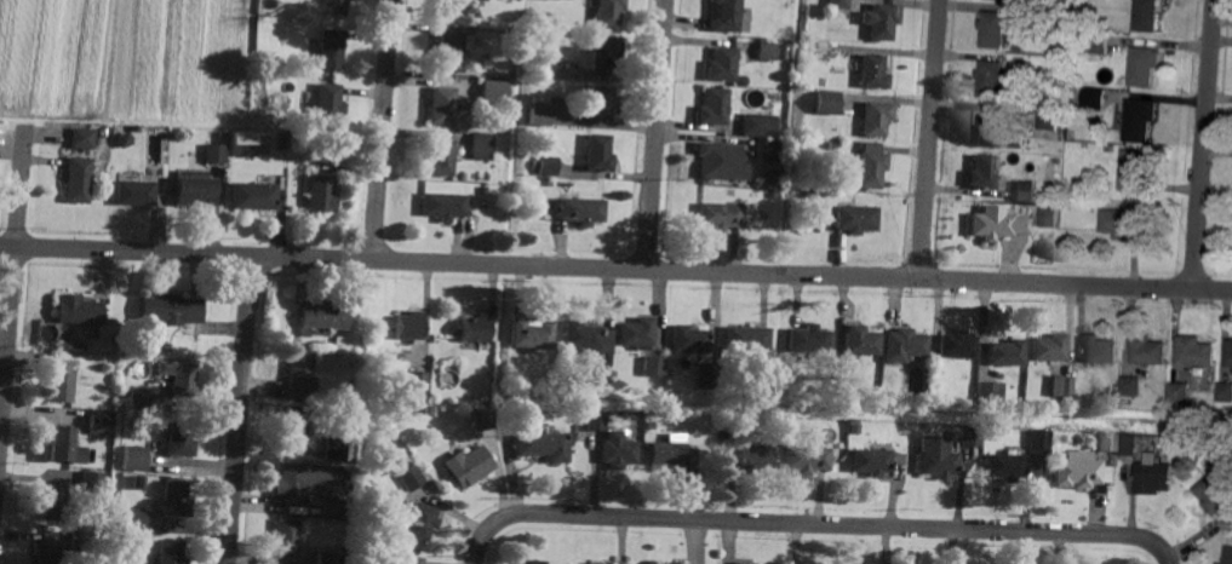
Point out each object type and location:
building: (840, 4)
building: (334, 6)
building: (451, 7)
building: (265, 8)
building: (823, 11)
building: (609, 12)
building: (831, 12)
building: (726, 15)
building: (1147, 16)
building: (1038, 17)
building: (879, 21)
building: (995, 29)
building: (1096, 45)
building: (332, 48)
building: (451, 50)
building: (819, 51)
building: (603, 53)
building: (766, 53)
building: (545, 62)
building: (1022, 62)
building: (723, 63)
building: (280, 65)
building: (1146, 65)
building: (873, 71)
building: (991, 77)
building: (492, 91)
building: (1095, 99)
building: (825, 102)
building: (327, 103)
building: (601, 103)
building: (441, 107)
building: (714, 107)
building: (1060, 111)
building: (543, 113)
building: (877, 117)
building: (1047, 117)
building: (1140, 120)
building: (757, 126)
building: (134, 128)
road: (384, 130)
building: (992, 132)
road: (657, 134)
building: (1072, 134)
building: (84, 137)
road: (930, 139)
building: (124, 140)
building: (282, 140)
building: (241, 144)
road: (1205, 144)
building: (780, 145)
building: (480, 146)
building: (832, 146)
building: (766, 150)
building: (216, 152)
building: (600, 152)
building: (440, 157)
building: (718, 161)
building: (545, 166)
building: (870, 166)
building: (1135, 171)
building: (981, 172)
building: (486, 177)
building: (767, 177)
building: (79, 179)
building: (552, 183)
building: (194, 189)
building: (1026, 190)
building: (470, 191)
building: (136, 192)
building: (321, 192)
building: (254, 195)
building: (1056, 197)
building: (1066, 202)
building: (443, 206)
building: (583, 211)
building: (720, 215)
building: (1048, 218)
building: (855, 219)
building: (1124, 223)
building: (996, 224)
road: (126, 251)
road: (281, 255)
road: (252, 267)
road: (606, 267)
road: (922, 278)
road: (1085, 284)
road: (13, 295)
building: (79, 309)
building: (172, 310)
building: (321, 317)
building: (409, 326)
building: (636, 333)
building: (474, 334)
building: (533, 334)
building: (589, 336)
building: (747, 338)
building: (689, 339)
building: (808, 340)
building: (859, 340)
building: (338, 341)
building: (957, 344)
building: (904, 345)
building: (71, 346)
building: (164, 346)
building: (1049, 347)
building: (1101, 349)
building: (1151, 350)
building: (1197, 351)
building: (1005, 352)
building: (1230, 353)
building: (653, 366)
building: (300, 369)
building: (760, 369)
building: (669, 373)
building: (180, 376)
building: (706, 376)
building: (417, 379)
building: (581, 384)
building: (62, 385)
building: (1133, 385)
building: (1059, 386)
building: (838, 389)
building: (990, 391)
building: (1225, 391)
building: (1180, 392)
building: (479, 397)
building: (141, 398)
building: (1196, 403)
building: (1156, 408)
building: (430, 409)
building: (498, 412)
building: (483, 419)
building: (595, 420)
building: (97, 421)
road: (240, 421)
building: (296, 422)
building: (649, 425)
building: (853, 430)
building: (917, 430)
building: (969, 437)
building: (177, 438)
building: (1037, 441)
building: (1106, 442)
building: (58, 444)
building: (1127, 444)
building: (543, 445)
building: (336, 448)
building: (617, 454)
building: (666, 454)
building: (104, 456)
building: (755, 456)
building: (934, 456)
building: (132, 457)
building: (807, 459)
building: (871, 461)
building: (468, 466)
building: (1004, 467)
building: (1078, 471)
building: (1157, 474)
building: (411, 478)
building: (292, 479)
building: (90, 483)
building: (174, 496)
building: (1216, 496)
building: (56, 503)
building: (332, 506)
building: (104, 514)
building: (133, 519)
building: (422, 522)
road: (827, 523)
building: (286, 536)
building: (148, 537)
building: (81, 541)
road: (481, 543)
building: (171, 552)
building: (47, 553)
road: (1168, 554)
building: (1228, 556)
building: (323, 558)
building: (411, 559)
building: (531, 562)
building: (675, 562)
building: (595, 563)
building: (658, 563)
building: (741, 563)
building: (1220, 563)

